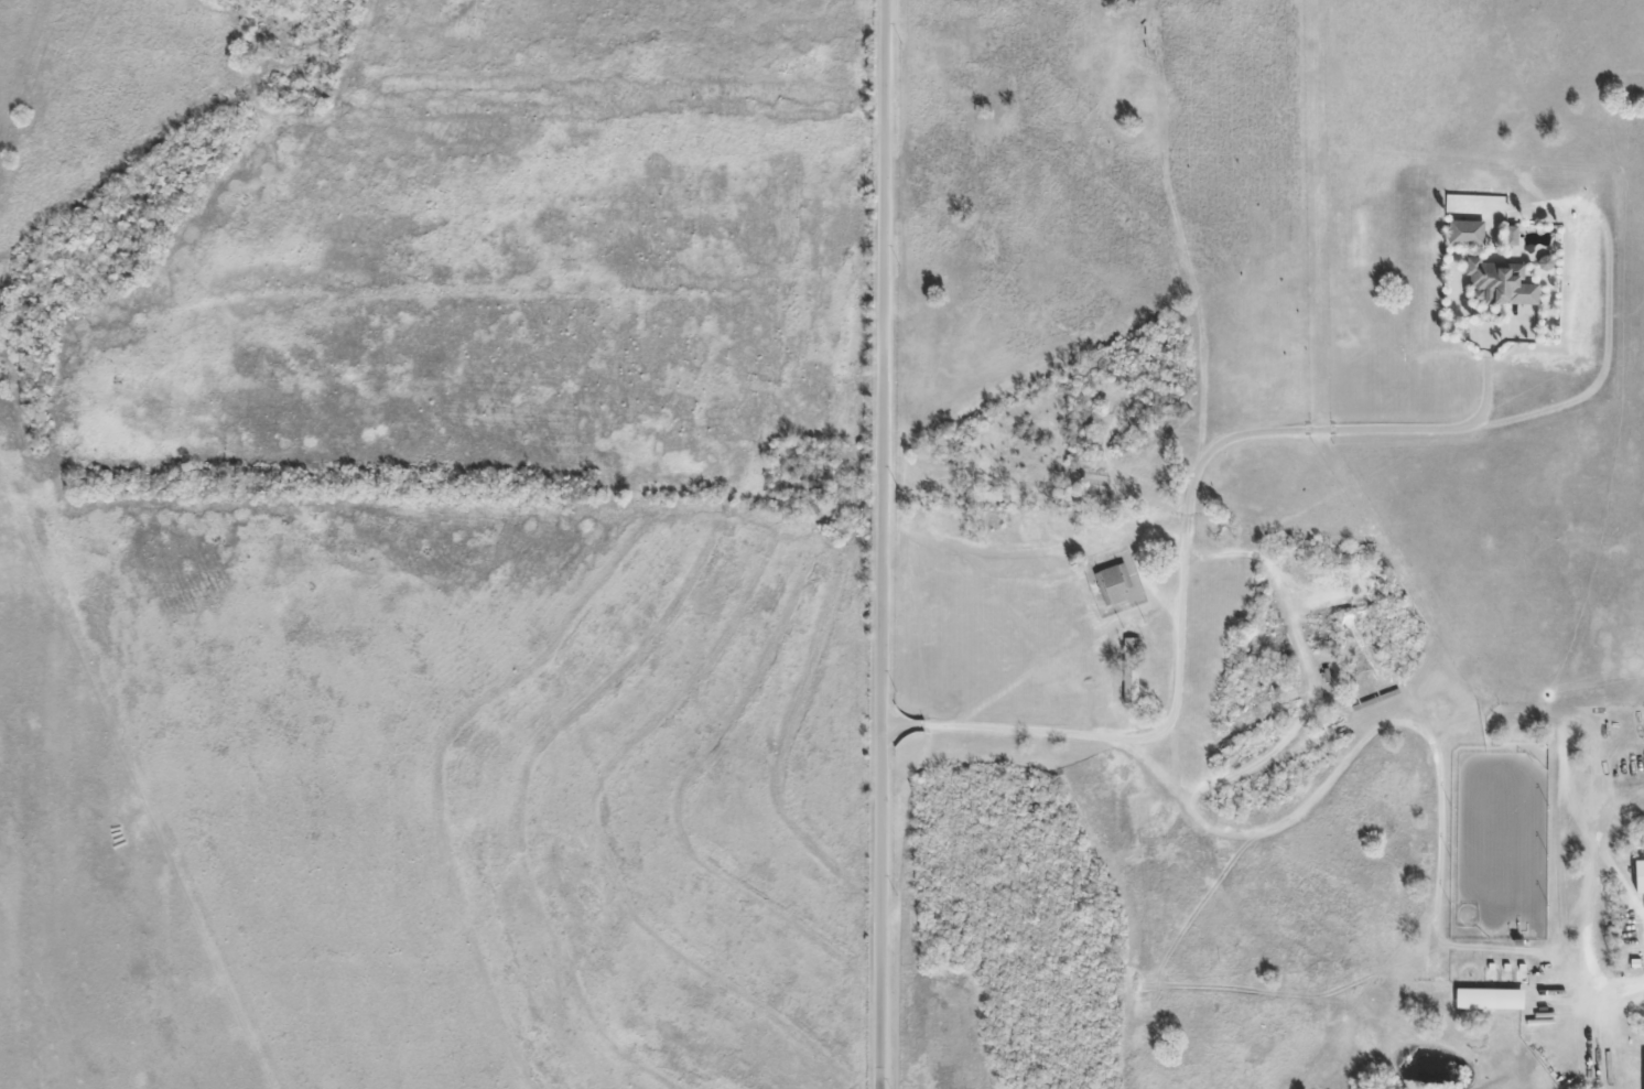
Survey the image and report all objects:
building: (1499, 282)
road: (891, 543)
building: (1128, 670)
building: (1258, 690)
building: (1332, 722)
building: (1638, 875)
building: (1489, 998)

